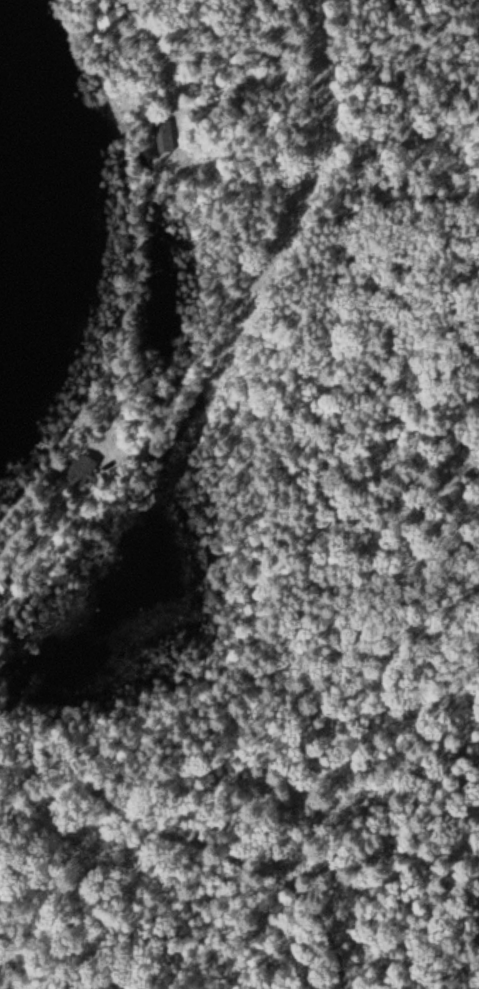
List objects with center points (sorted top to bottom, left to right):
road: (328, 38)
building: (161, 133)
building: (82, 473)
building: (3, 588)
road: (162, 894)

